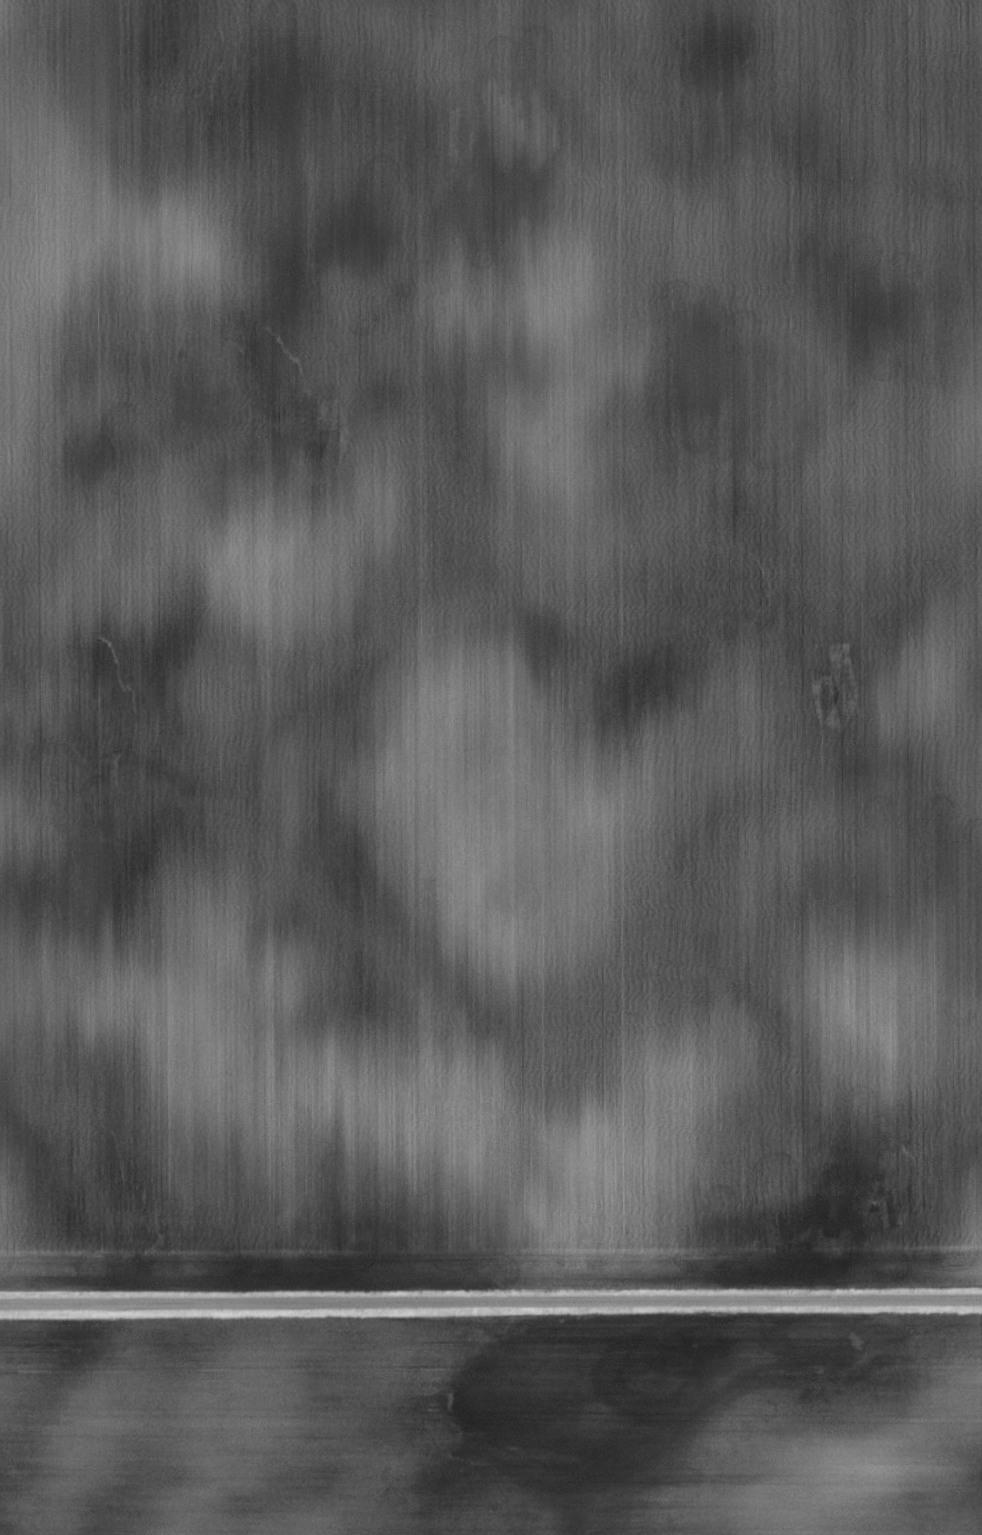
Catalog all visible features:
road: (491, 1299)

